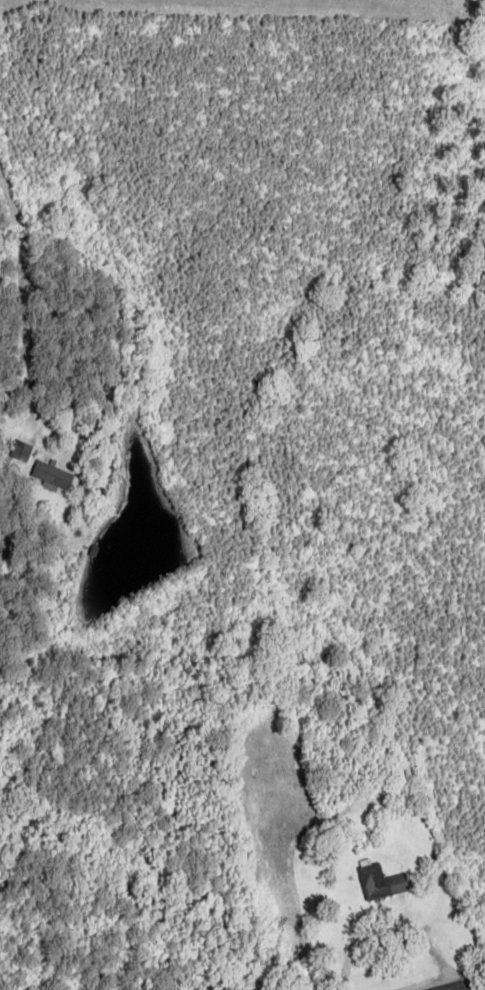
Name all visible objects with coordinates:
building: (21, 451)
building: (52, 474)
road: (460, 984)

